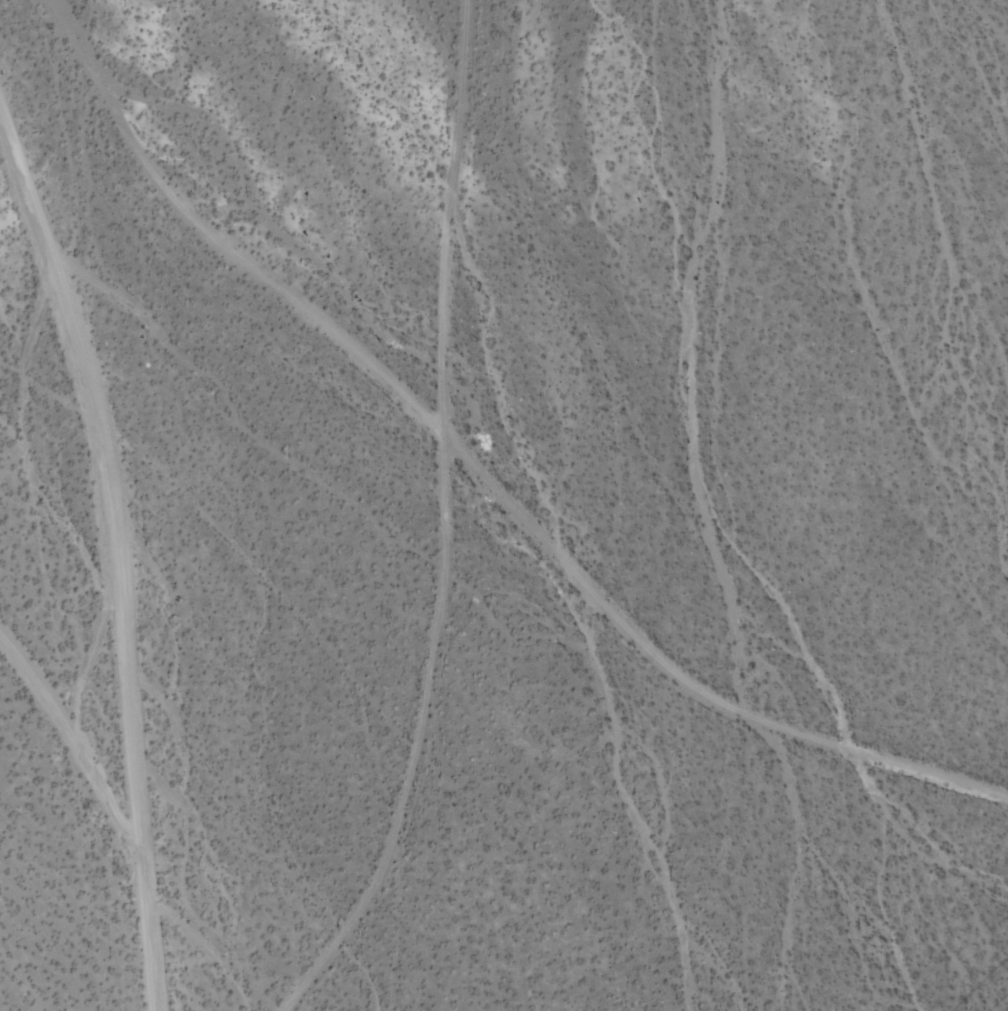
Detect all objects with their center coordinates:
road: (474, 472)
road: (444, 522)
road: (114, 555)

